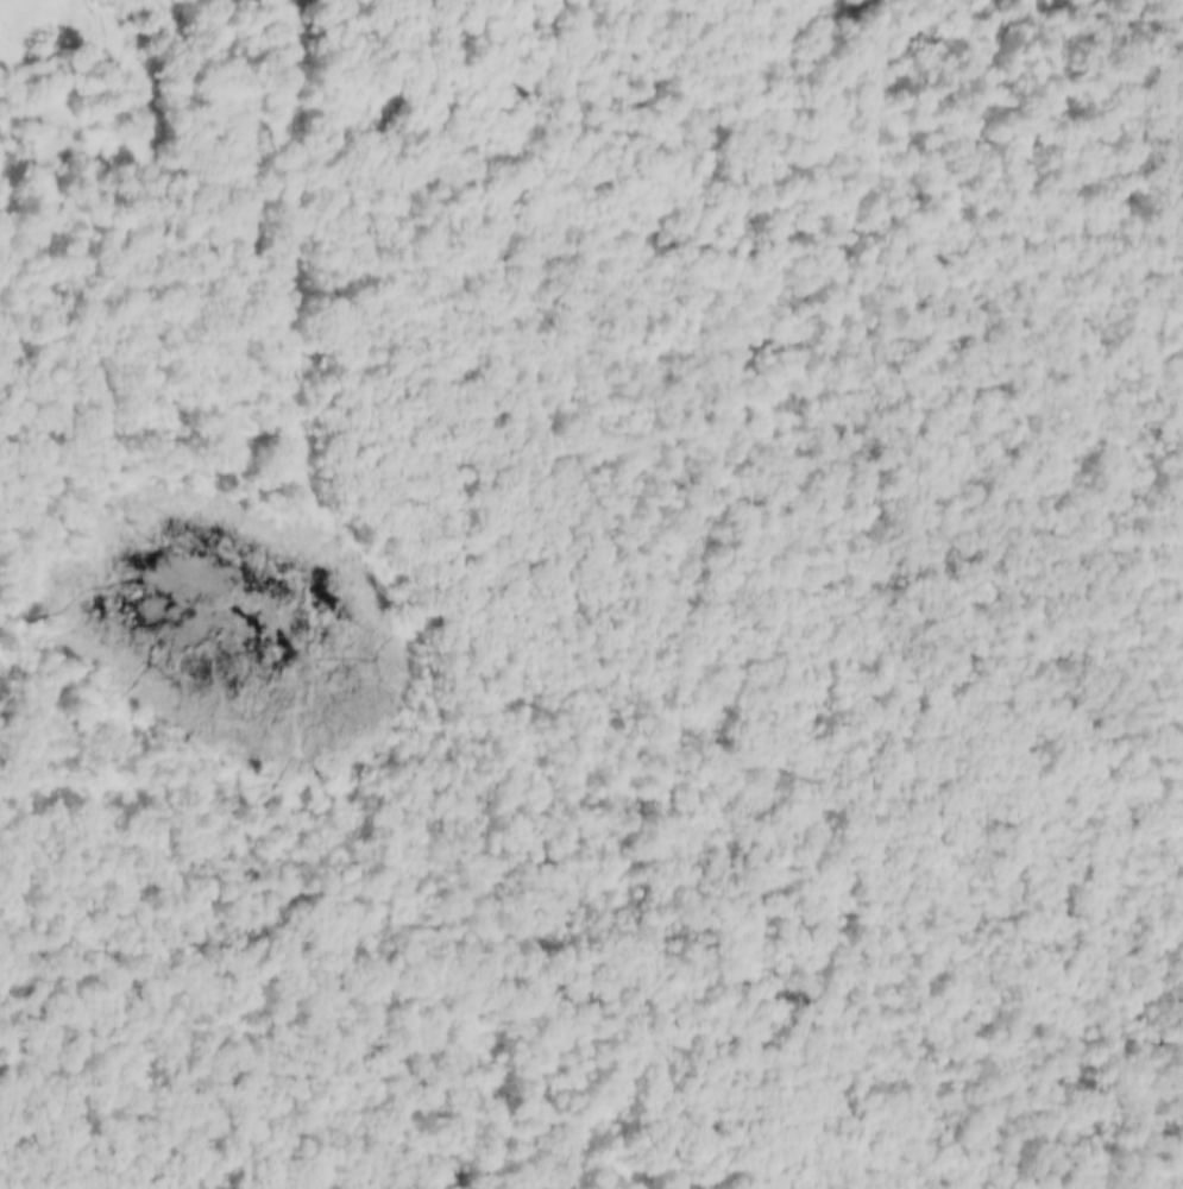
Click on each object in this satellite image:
road: (150, 784)

